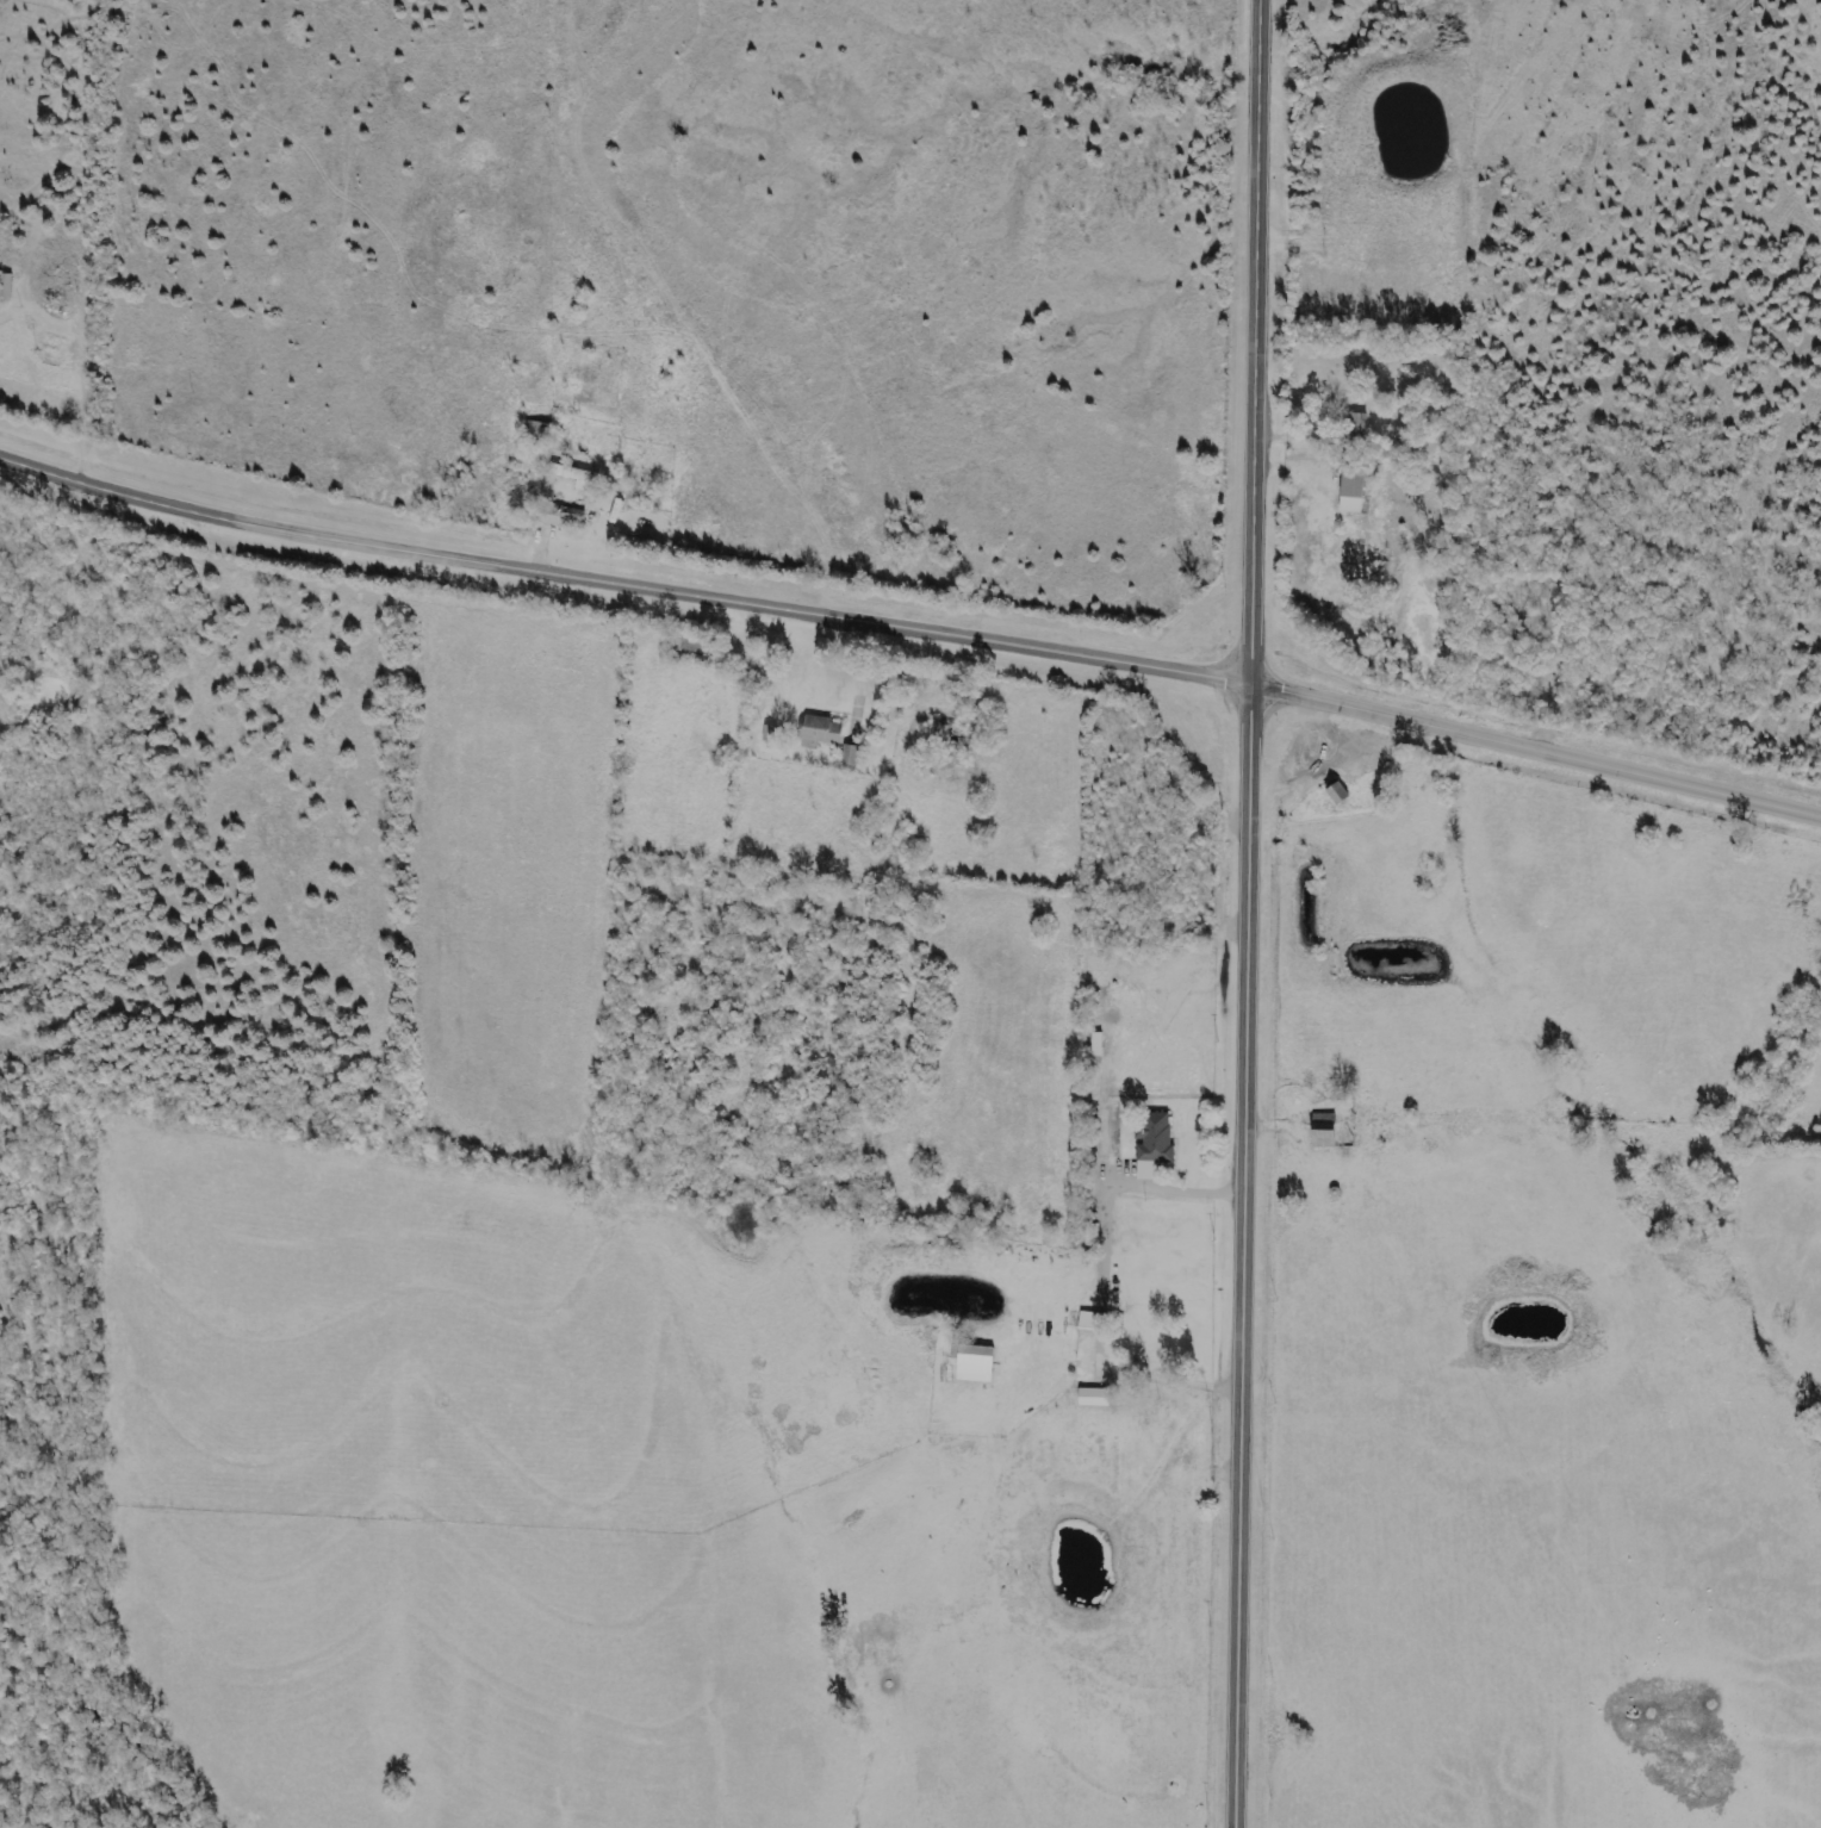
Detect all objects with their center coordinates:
building: (1360, 428)
building: (582, 474)
building: (1355, 487)
building: (565, 514)
road: (623, 579)
building: (827, 729)
road: (1537, 746)
building: (856, 753)
road: (1249, 914)
building: (1158, 1142)
building: (980, 1362)

